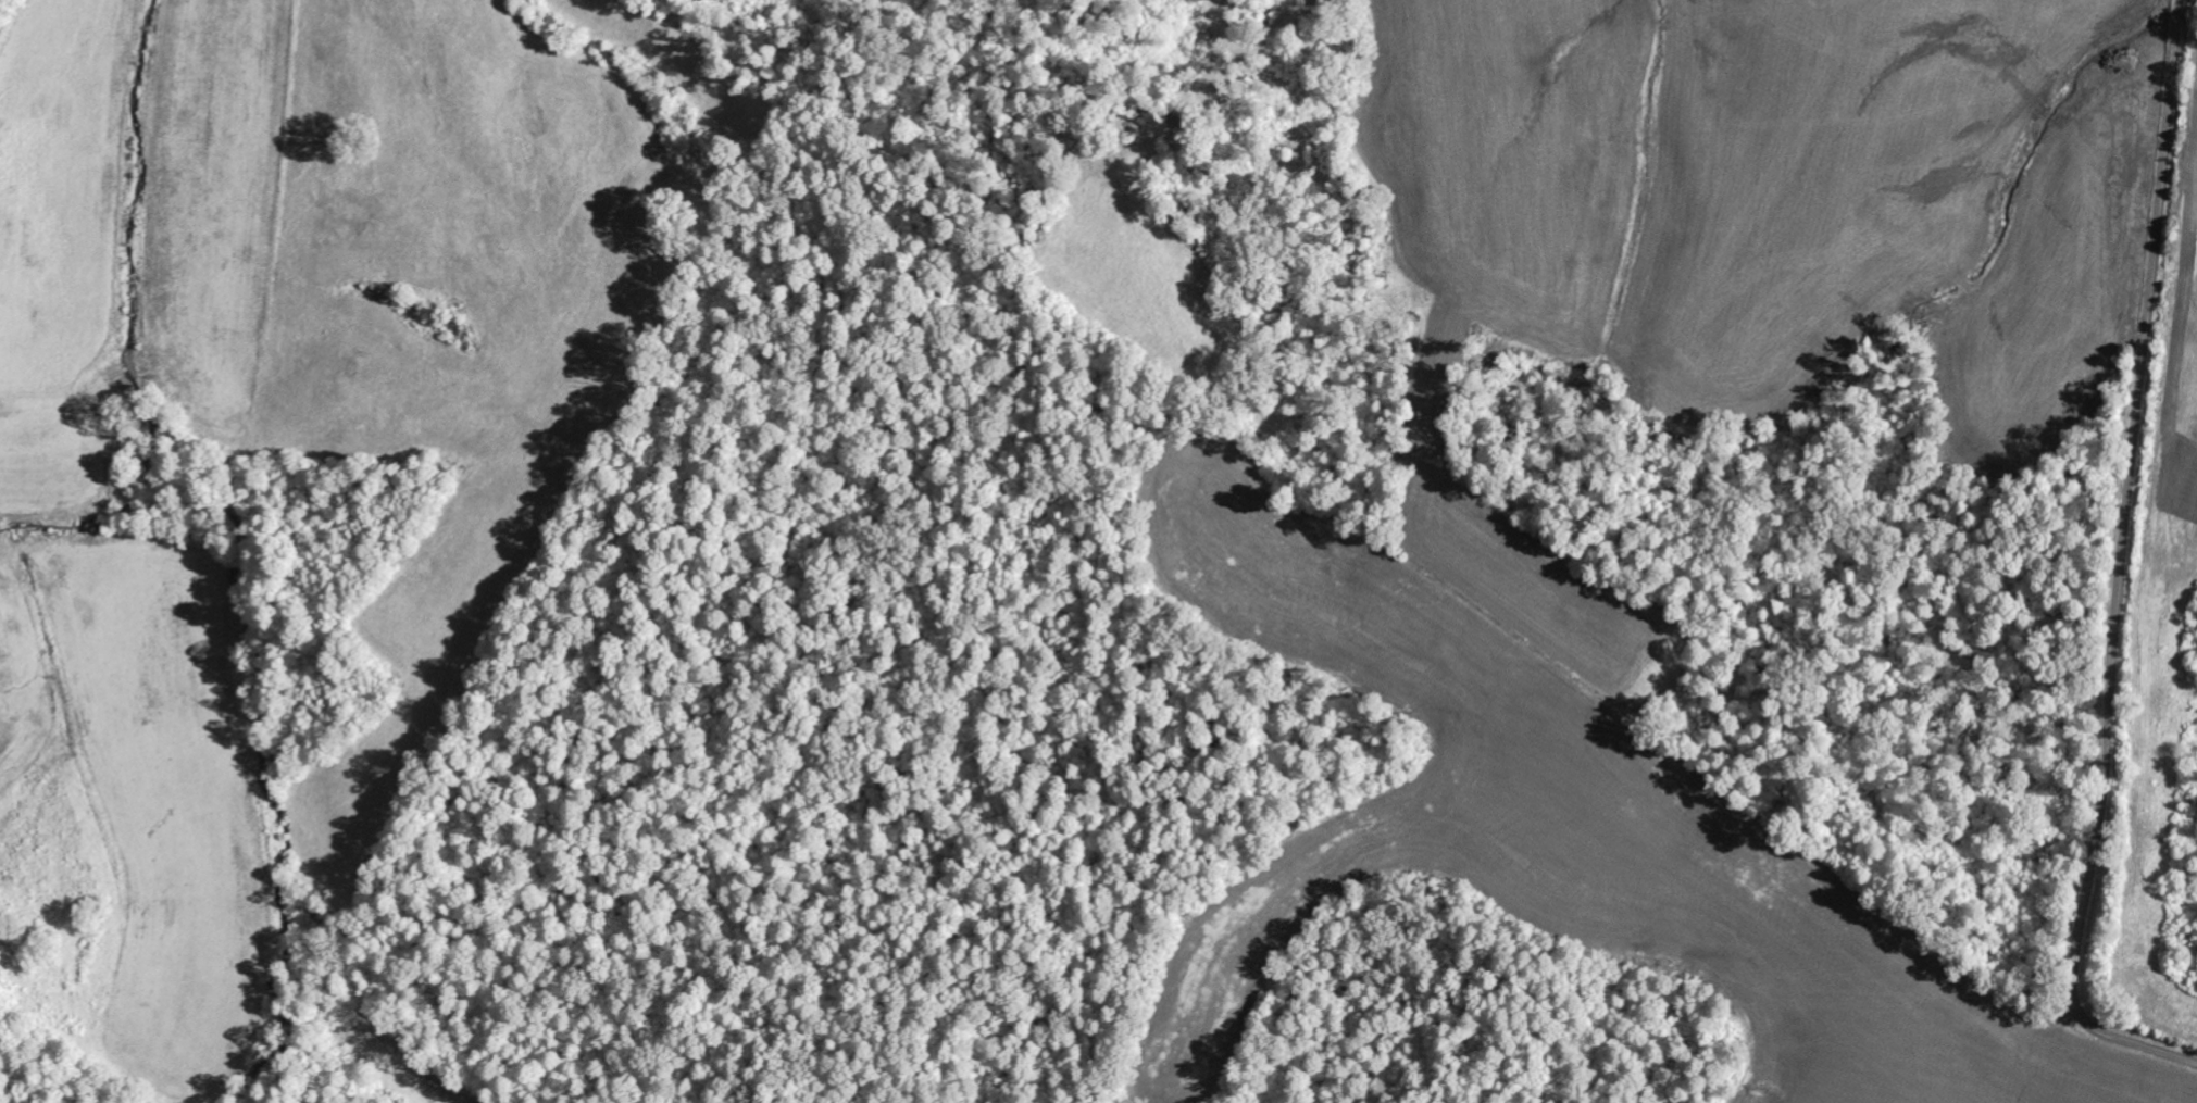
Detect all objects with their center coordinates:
road: (2123, 568)

